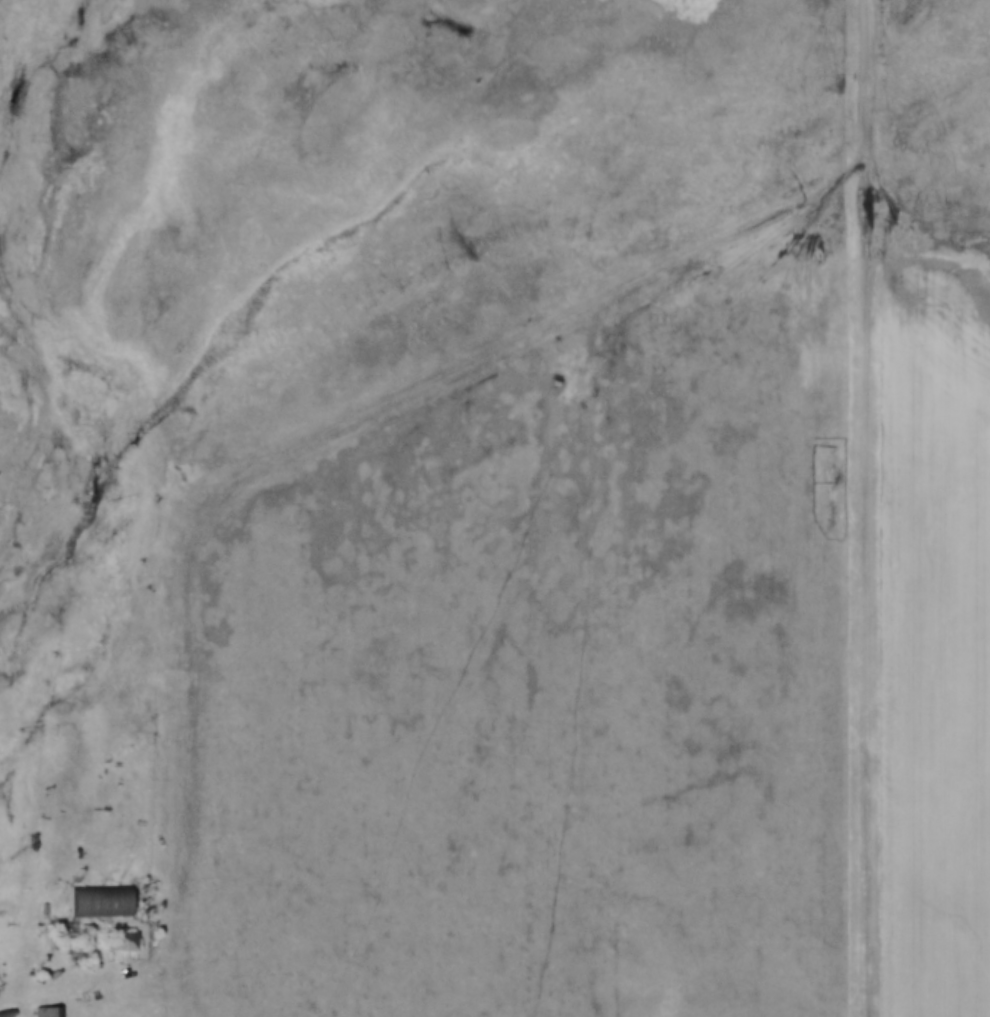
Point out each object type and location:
road: (370, 416)
building: (100, 899)
building: (121, 941)
road: (107, 1016)

